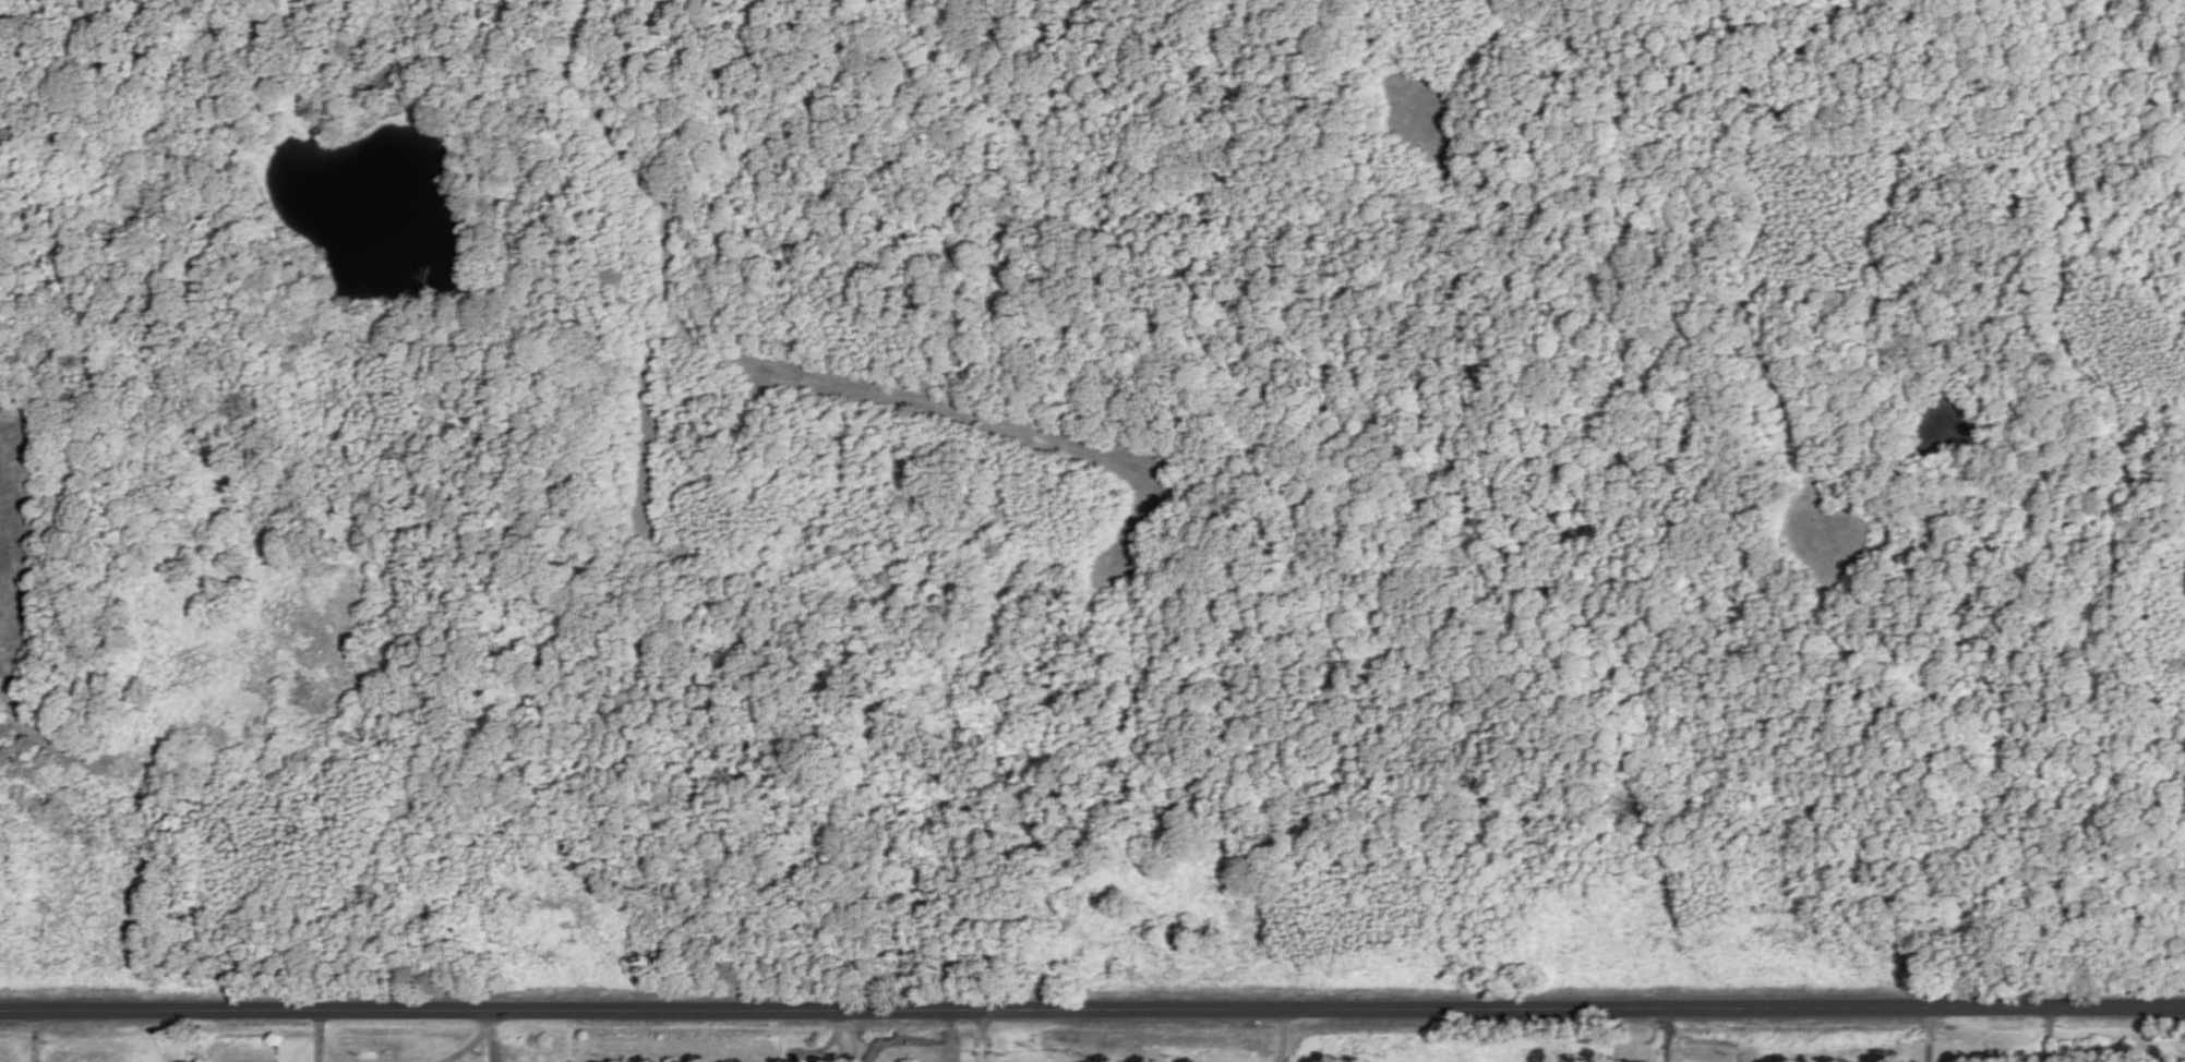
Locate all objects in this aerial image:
road: (1092, 1009)
road: (2046, 1034)
road: (35, 1035)
road: (983, 1035)
road: (1283, 1035)
road: (1665, 1035)
road: (1929, 1035)
road: (320, 1036)
road: (490, 1036)
road: (949, 1036)
road: (469, 1045)
road: (831, 1047)

